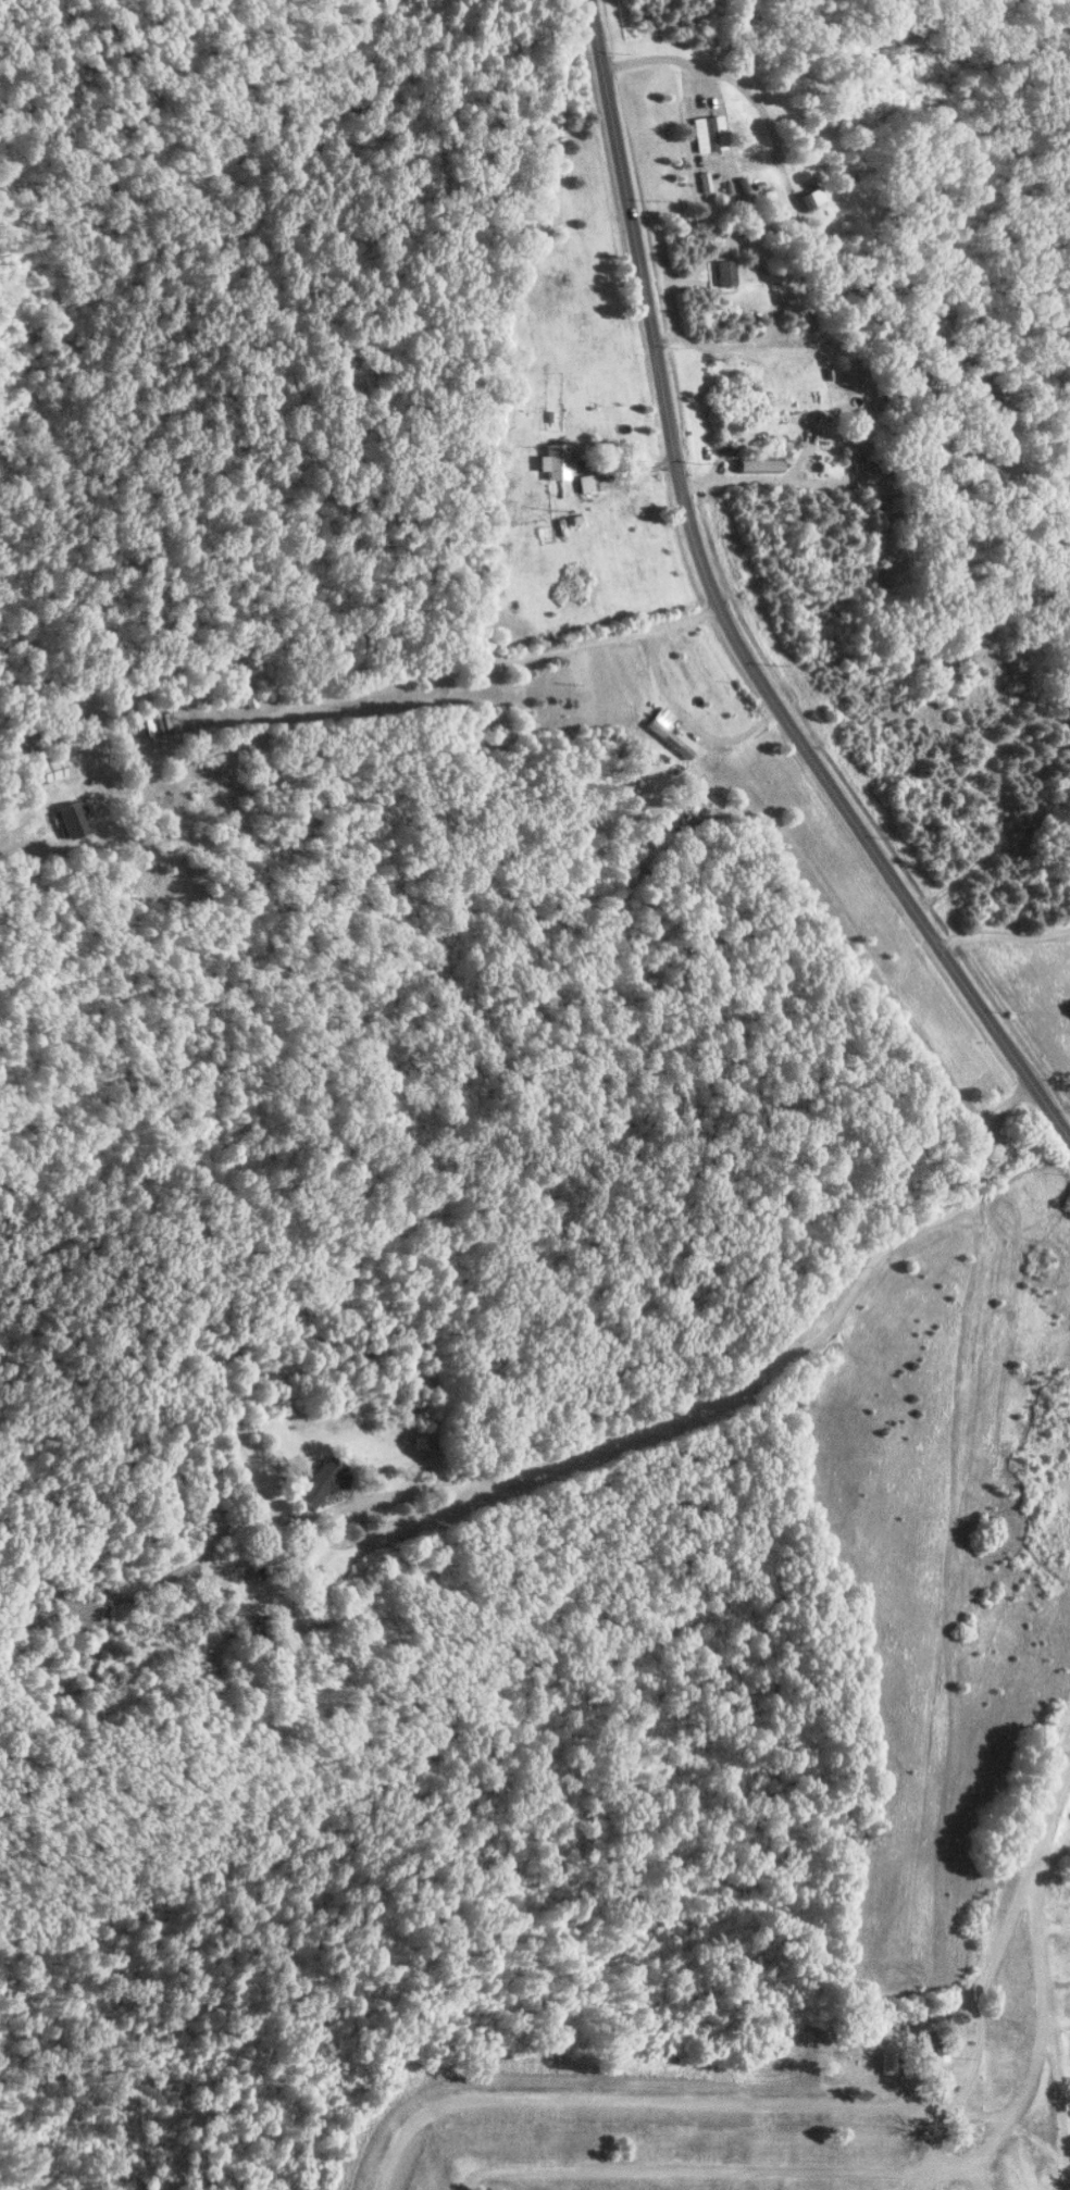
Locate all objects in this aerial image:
building: (709, 133)
building: (553, 460)
road: (718, 614)
road: (393, 682)
building: (669, 738)
building: (51, 769)
building: (72, 819)
road: (1004, 935)
road: (741, 1383)
building: (319, 1482)
road: (1042, 1966)
road: (1057, 1983)
building: (997, 2016)
road: (1059, 2025)
road: (980, 2033)
building: (929, 2050)
building: (935, 2051)
building: (944, 2052)
building: (941, 2093)
road: (634, 2096)
road: (1015, 2110)
road: (929, 2152)
road: (686, 2166)
road: (953, 2166)
road: (540, 2177)

